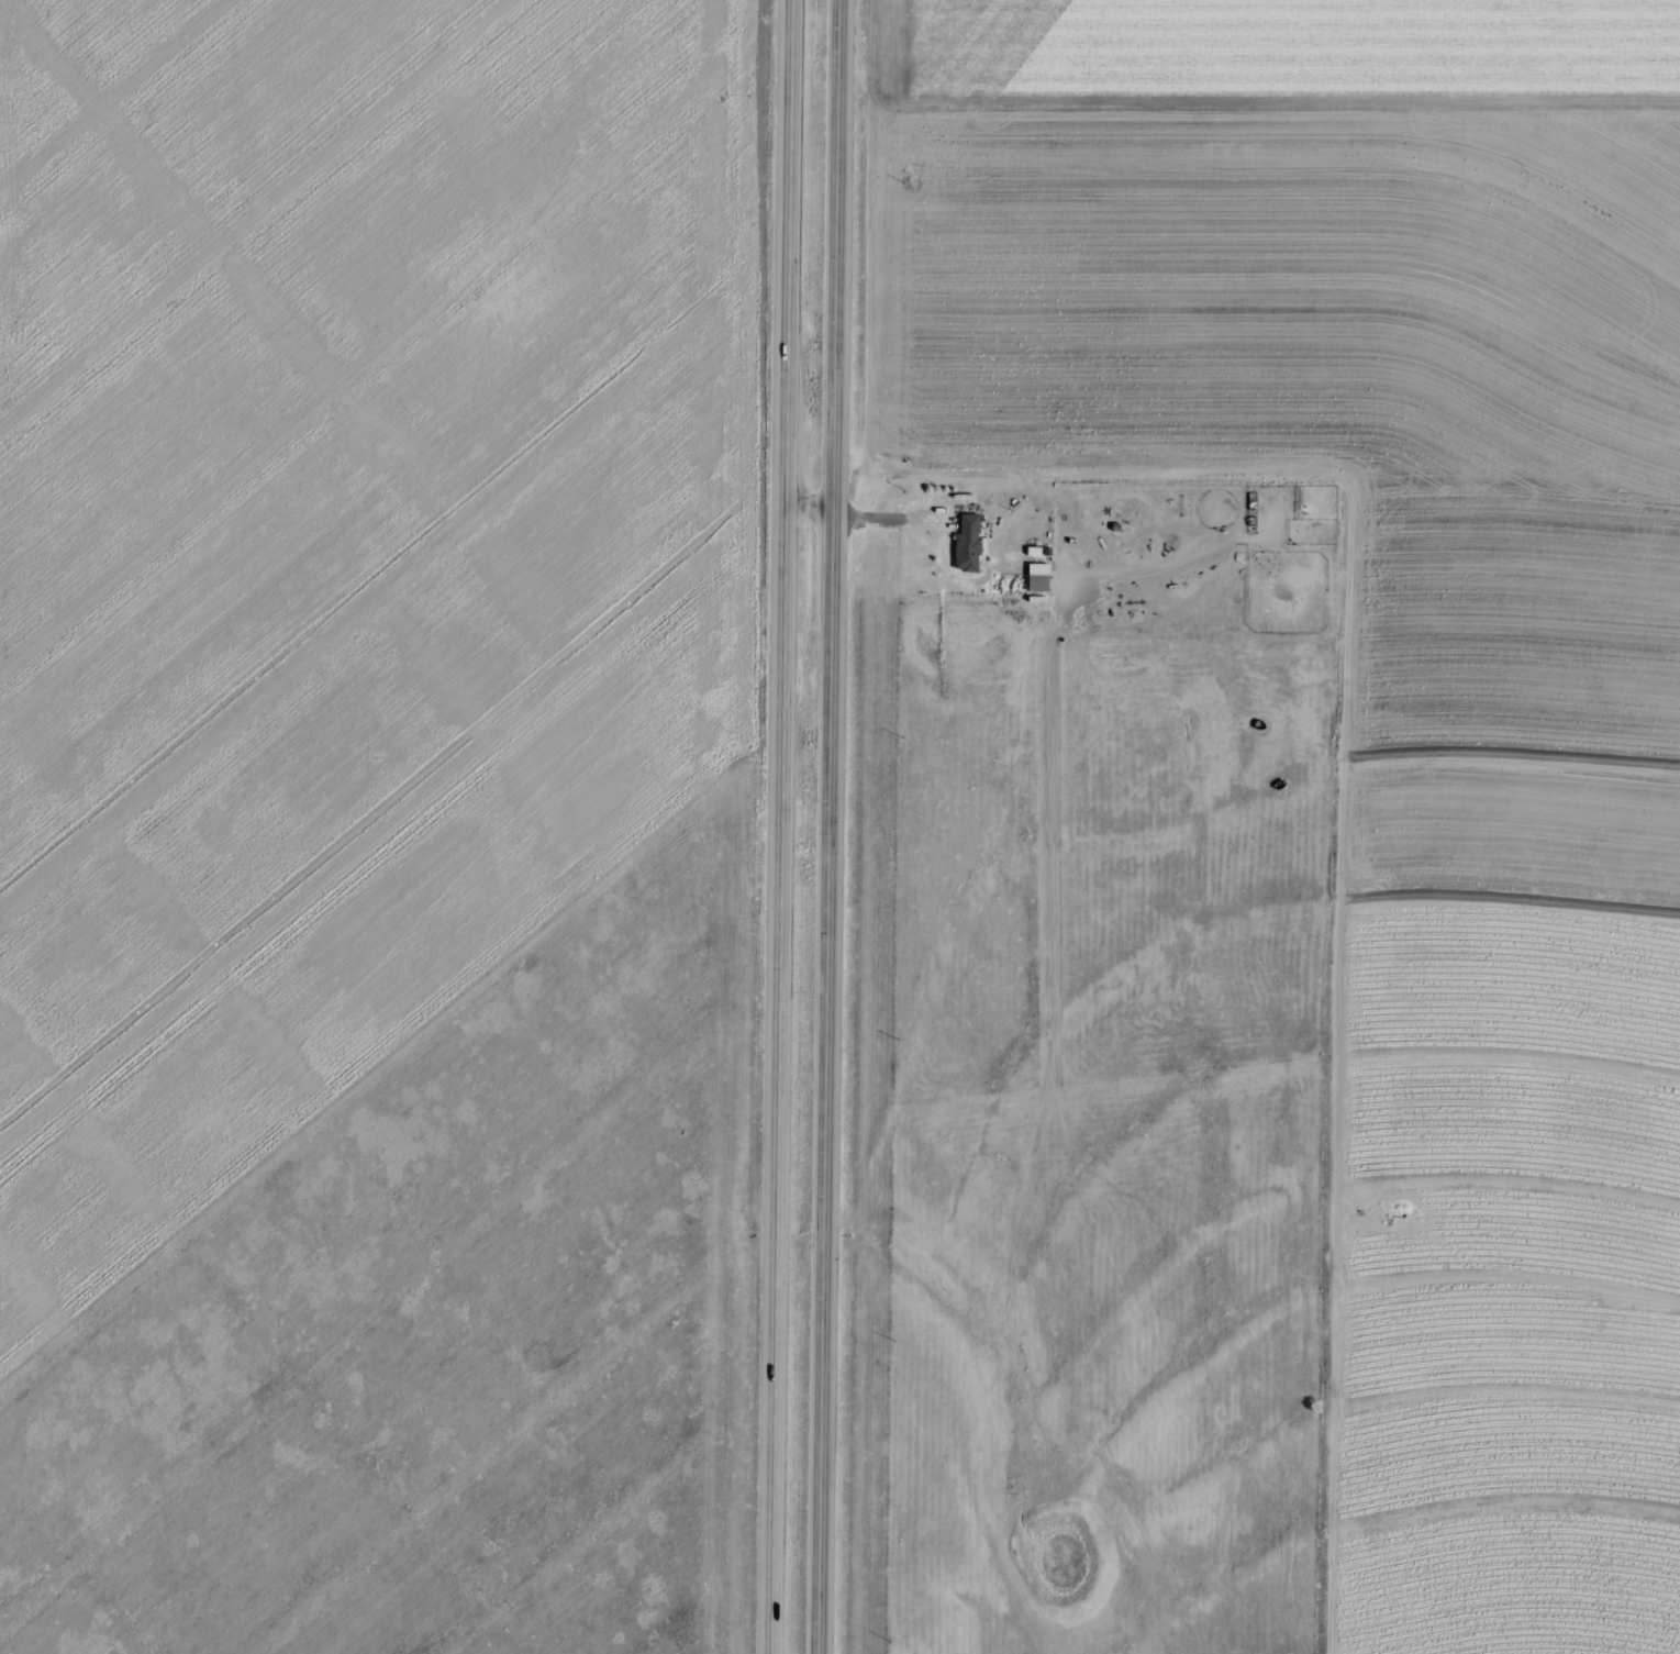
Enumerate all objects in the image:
road: (895, 522)
road: (781, 826)
road: (837, 826)

